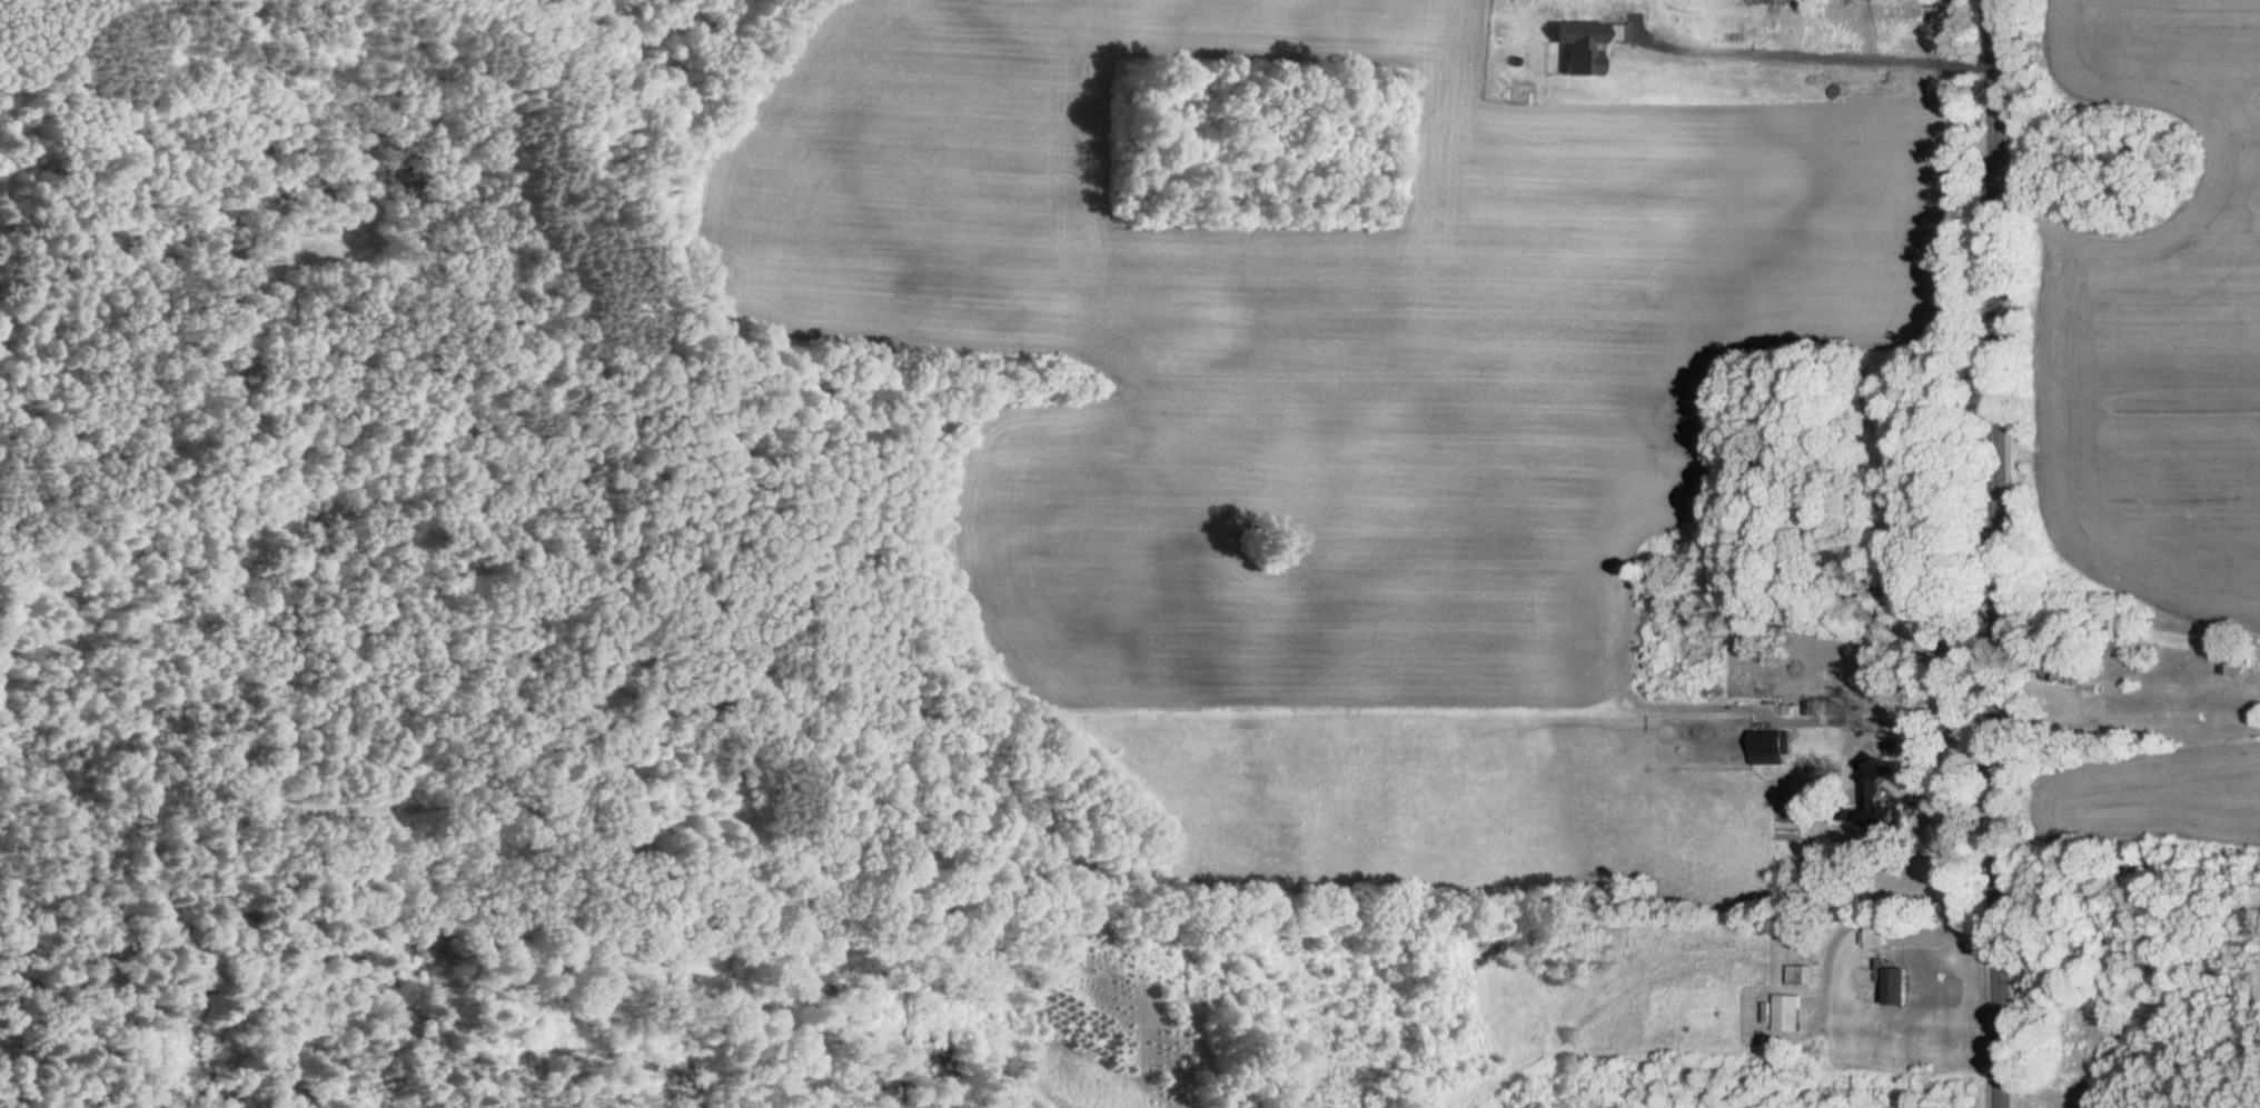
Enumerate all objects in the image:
building: (1929, 4)
road: (1811, 60)
road: (1986, 553)
building: (2233, 663)
building: (2066, 672)
building: (1774, 746)
building: (1879, 749)
road: (1916, 755)
building: (1890, 825)
road: (1880, 917)
building: (1879, 940)
building: (1803, 979)
building: (1899, 990)
building: (1791, 1016)

